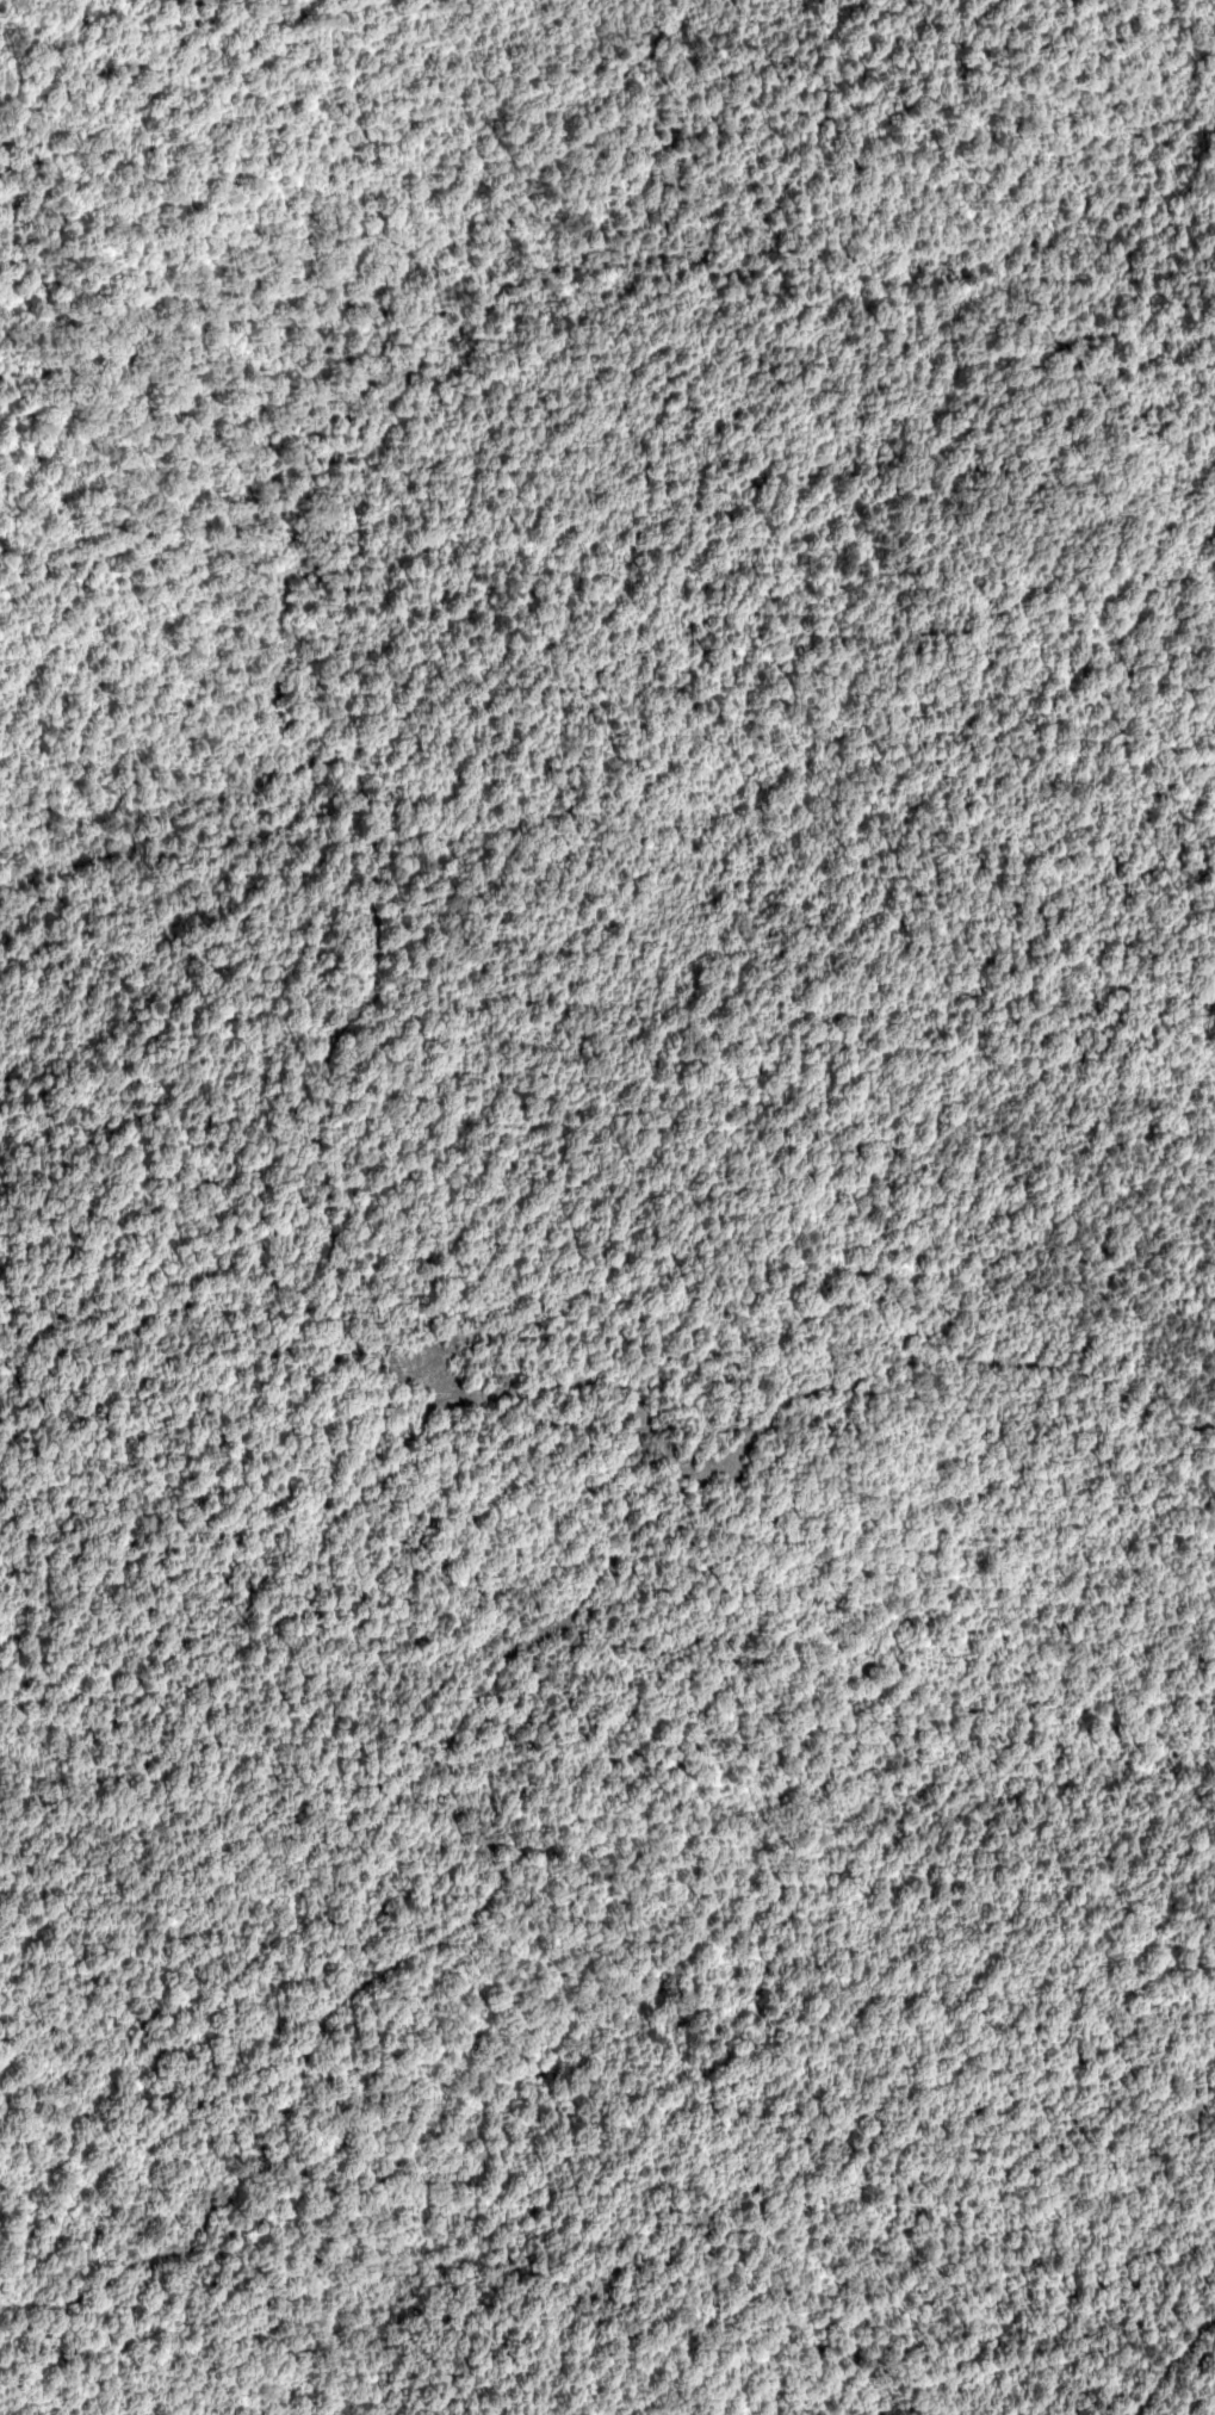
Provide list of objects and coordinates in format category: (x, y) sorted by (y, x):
road: (1176, 2368)

